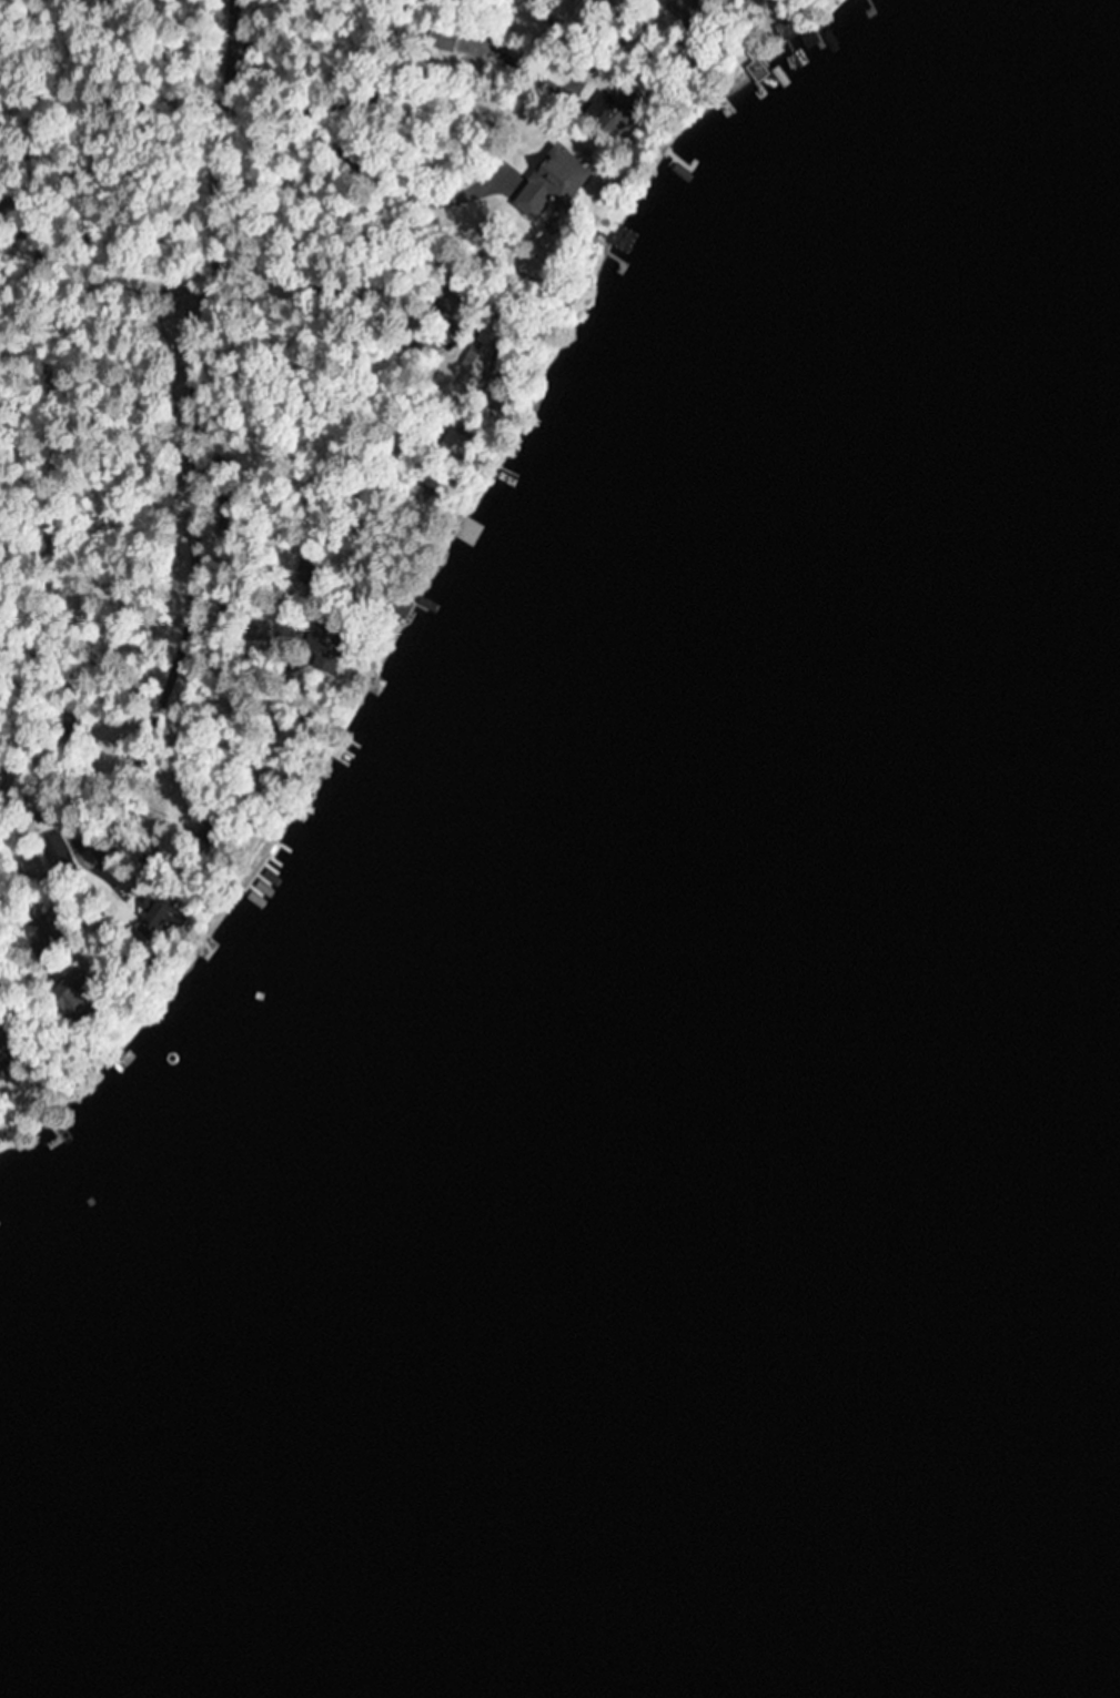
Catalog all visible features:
building: (572, 0)
building: (680, 8)
building: (443, 39)
building: (607, 112)
building: (574, 171)
road: (70, 216)
building: (472, 368)
road: (184, 401)
building: (466, 532)
building: (59, 846)
building: (154, 911)
building: (71, 998)
building: (2, 1061)

